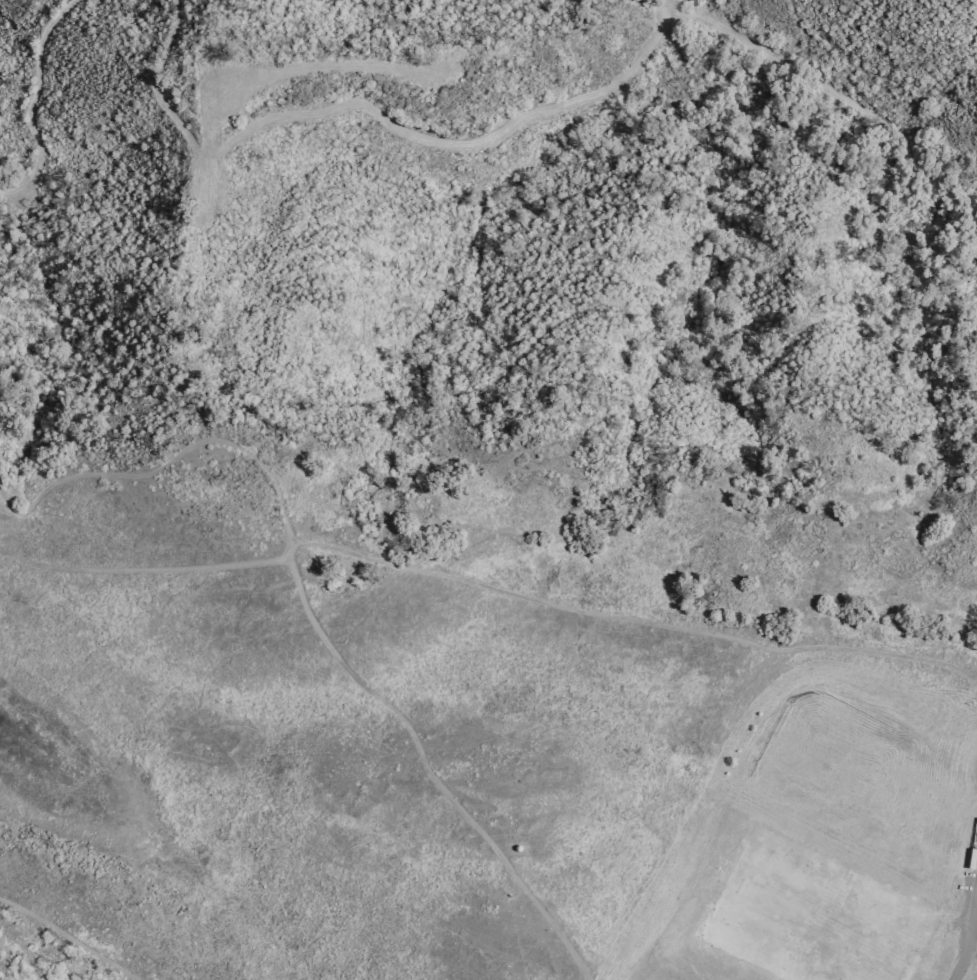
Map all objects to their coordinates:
road: (32, 100)
road: (375, 111)
road: (182, 292)
road: (433, 576)
road: (971, 938)

